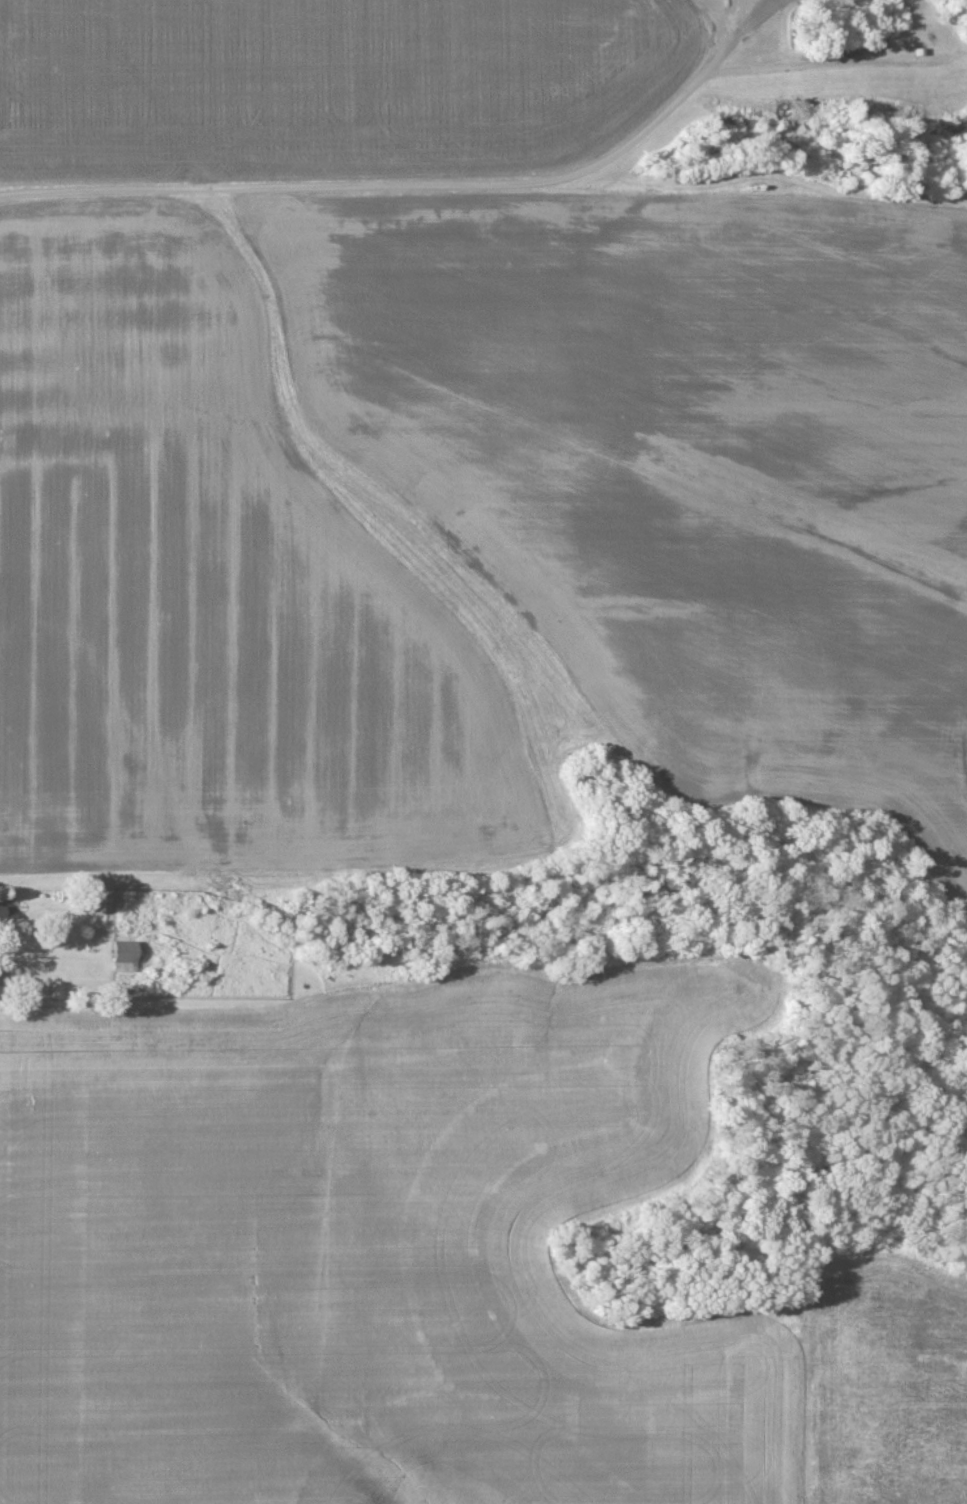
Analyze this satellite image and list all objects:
road: (413, 182)
building: (120, 956)

